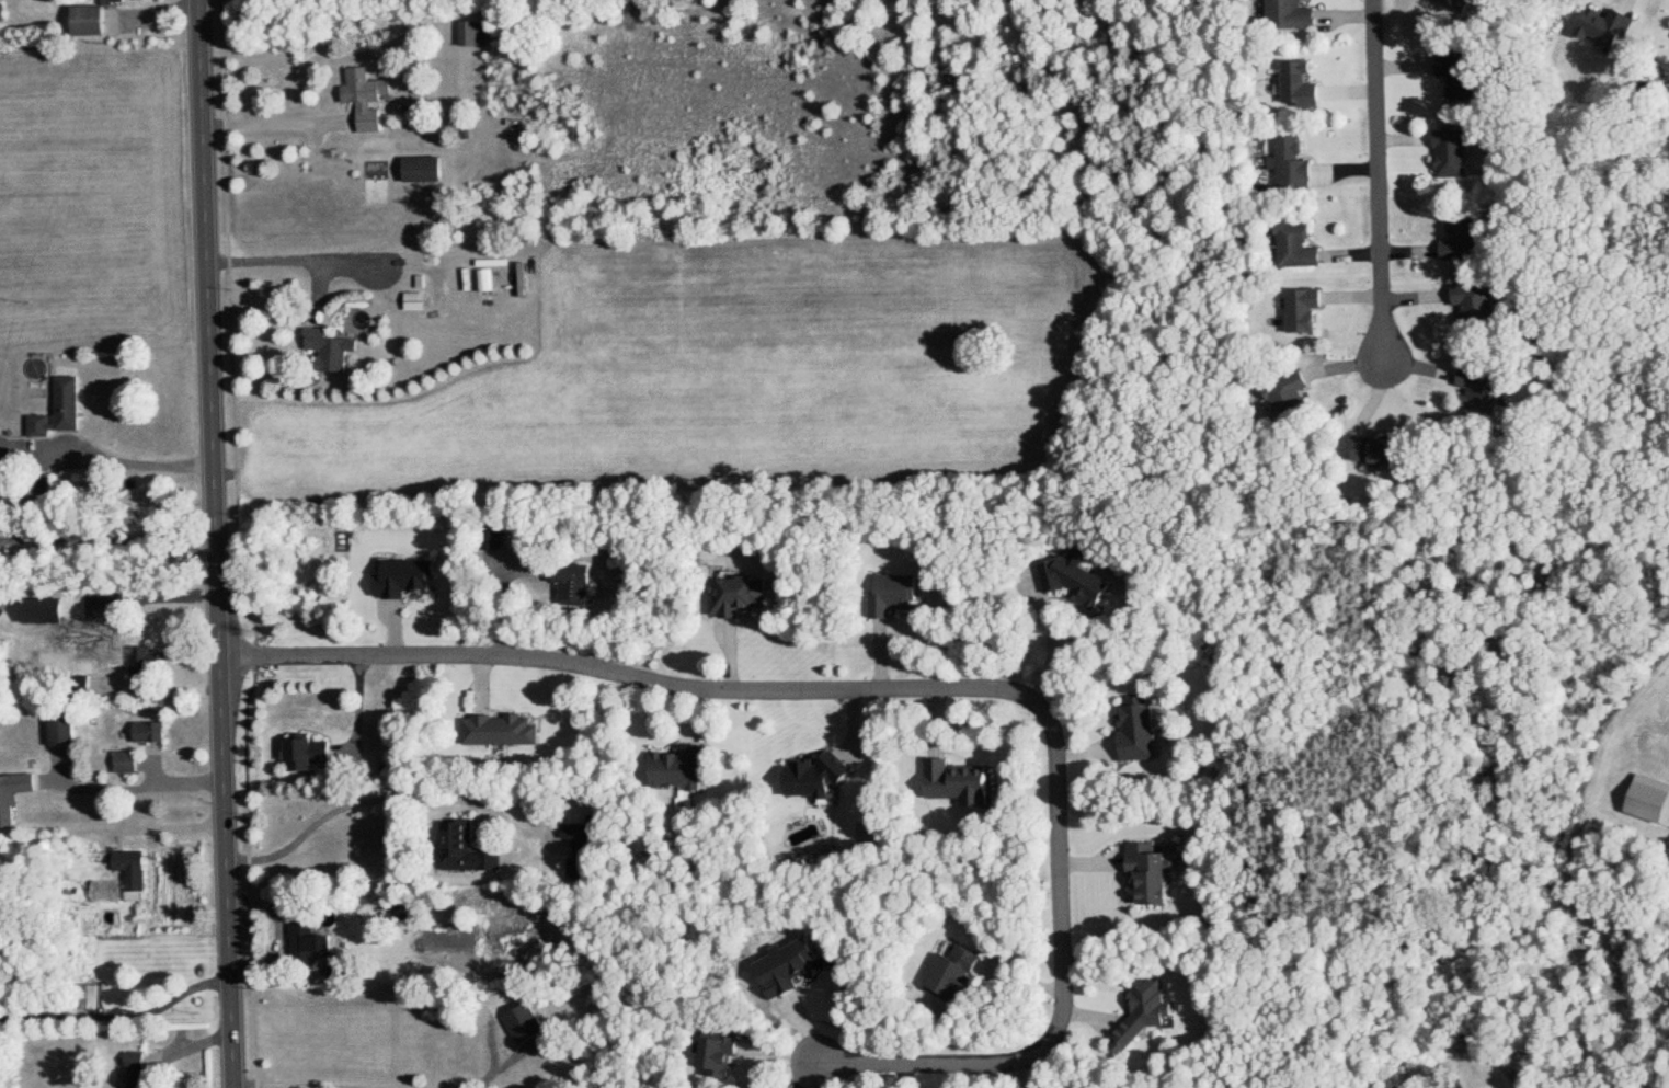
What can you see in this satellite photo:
building: (117, 1)
building: (1287, 14)
building: (478, 34)
building: (369, 100)
road: (278, 122)
building: (1448, 153)
building: (1290, 165)
building: (426, 171)
road: (1380, 181)
building: (1461, 240)
building: (1293, 247)
road: (268, 263)
building: (487, 282)
building: (1472, 305)
building: (334, 351)
building: (1478, 392)
building: (1285, 398)
road: (110, 451)
road: (112, 538)
building: (490, 539)
road: (221, 543)
building: (1072, 583)
building: (571, 585)
building: (736, 596)
building: (889, 596)
road: (155, 599)
building: (144, 661)
road: (636, 675)
road: (359, 706)
building: (498, 731)
building: (147, 734)
building: (305, 755)
building: (677, 768)
building: (953, 783)
road: (145, 790)
building: (16, 798)
road: (353, 802)
building: (462, 850)
building: (581, 850)
building: (129, 873)
building: (1145, 874)
road: (1061, 881)
building: (305, 944)
building: (781, 969)
building: (949, 973)
road: (121, 1015)
building: (1141, 1015)
building: (522, 1023)
road: (493, 1055)
building: (715, 1055)
road: (929, 1060)
building: (140, 1072)
road: (299, 1085)
building: (1447, 1085)

